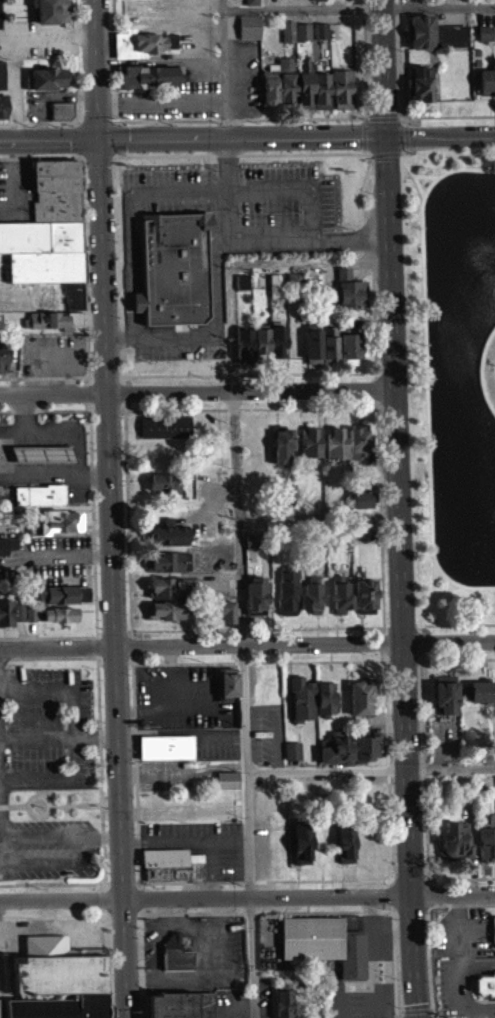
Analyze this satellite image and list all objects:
building: (140, 2)
building: (317, 4)
building: (250, 6)
road: (297, 9)
building: (51, 17)
building: (0, 28)
building: (248, 35)
building: (320, 39)
building: (294, 40)
building: (420, 40)
building: (450, 44)
building: (141, 52)
road: (96, 68)
building: (285, 71)
building: (2, 83)
building: (148, 84)
building: (47, 87)
building: (486, 90)
building: (418, 91)
building: (269, 92)
building: (303, 92)
building: (286, 96)
building: (341, 97)
building: (320, 99)
building: (2, 114)
building: (61, 118)
road: (49, 119)
traffic signals: (99, 137)
road: (49, 138)
road: (297, 139)
traffic signals: (392, 141)
road: (50, 157)
road: (442, 172)
road: (424, 195)
road: (310, 237)
building: (48, 239)
building: (173, 267)
road: (214, 284)
road: (424, 285)
building: (293, 286)
building: (241, 290)
building: (349, 299)
building: (52, 328)
building: (277, 348)
road: (484, 350)
building: (261, 351)
building: (320, 351)
building: (348, 353)
building: (243, 354)
building: (2, 370)
road: (53, 376)
park: (452, 378)
road: (251, 389)
road: (53, 392)
road: (485, 394)
road: (54, 408)
road: (69, 430)
building: (164, 434)
building: (310, 450)
building: (357, 450)
building: (335, 452)
building: (281, 453)
building: (42, 462)
building: (163, 491)
road: (431, 497)
building: (38, 503)
building: (361, 507)
road: (398, 509)
road: (318, 515)
building: (57, 518)
building: (58, 530)
building: (167, 532)
building: (313, 533)
building: (257, 539)
building: (167, 542)
building: (7, 543)
building: (251, 550)
building: (6, 553)
building: (167, 559)
building: (168, 570)
road: (112, 577)
building: (172, 584)
road: (464, 584)
road: (482, 585)
building: (63, 591)
building: (287, 591)
building: (340, 592)
building: (364, 592)
building: (257, 593)
building: (311, 595)
building: (163, 596)
building: (62, 603)
building: (165, 607)
building: (222, 607)
building: (19, 609)
building: (31, 610)
building: (6, 611)
building: (59, 611)
building: (166, 618)
building: (221, 619)
building: (56, 623)
road: (295, 626)
road: (48, 635)
road: (304, 642)
road: (57, 646)
road: (66, 656)
road: (314, 659)
building: (226, 682)
building: (480, 688)
building: (360, 693)
building: (444, 693)
building: (302, 696)
building: (326, 696)
building: (479, 700)
road: (135, 704)
road: (244, 704)
road: (98, 713)
building: (166, 745)
building: (366, 745)
building: (336, 746)
building: (292, 748)
road: (423, 751)
building: (291, 759)
road: (387, 766)
road: (370, 768)
building: (227, 778)
building: (226, 788)
building: (486, 838)
road: (185, 840)
building: (301, 840)
building: (454, 840)
building: (345, 842)
parking lot: (202, 843)
building: (172, 862)
road: (211, 868)
road: (460, 876)
road: (195, 880)
road: (440, 890)
road: (309, 895)
road: (61, 897)
road: (461, 903)
road: (195, 912)
building: (493, 926)
building: (324, 941)
building: (176, 951)
road: (431, 963)
building: (59, 971)
building: (486, 982)
building: (484, 994)
building: (283, 1001)
building: (180, 1003)
road: (0, 1005)
building: (59, 1006)
road: (415, 1012)

